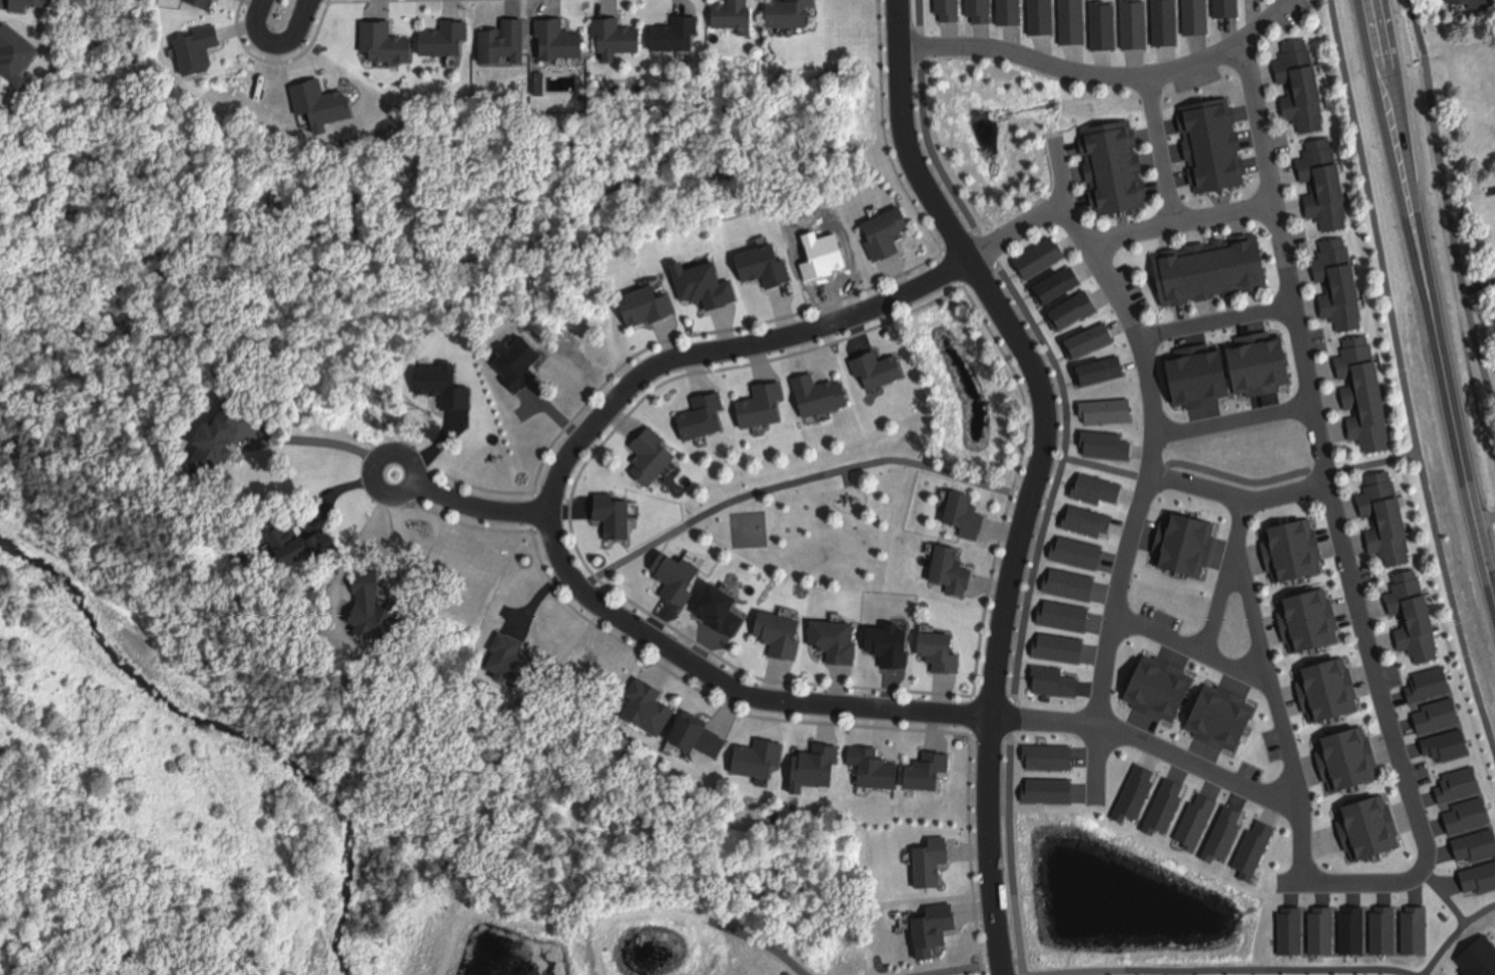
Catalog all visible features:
building: (1254, 1)
building: (206, 4)
building: (1473, 4)
building: (33, 7)
road: (1280, 9)
building: (947, 10)
building: (979, 12)
building: (1010, 13)
building: (735, 14)
building: (797, 14)
building: (1214, 14)
building: (1041, 16)
building: (1175, 20)
building: (1074, 22)
building: (1108, 26)
building: (1142, 30)
building: (678, 34)
building: (622, 36)
road: (1380, 38)
building: (447, 40)
building: (564, 40)
building: (391, 43)
building: (506, 44)
road: (277, 45)
building: (202, 52)
building: (19, 57)
road: (1090, 72)
building: (1304, 88)
road: (1158, 147)
building: (1115, 170)
building: (1326, 187)
road: (1448, 206)
road: (1118, 234)
building: (1485, 234)
building: (891, 235)
building: (1041, 261)
building: (1215, 271)
building: (704, 286)
building: (1341, 286)
building: (1063, 287)
building: (645, 311)
building: (1077, 313)
road: (1216, 321)
road: (1435, 341)
building: (881, 370)
road: (1403, 381)
building: (1366, 384)
building: (442, 387)
building: (822, 389)
building: (761, 404)
building: (705, 416)
road: (1234, 422)
road: (316, 436)
building: (221, 438)
building: (650, 457)
road: (411, 459)
park: (872, 461)
road: (1150, 468)
road: (936, 469)
road: (1105, 469)
road: (1035, 471)
road: (1060, 472)
road: (1283, 477)
road: (1207, 489)
building: (1100, 490)
road: (1289, 493)
road: (479, 510)
building: (613, 515)
road: (550, 516)
building: (968, 516)
building: (1387, 520)
building: (1090, 523)
park: (747, 530)
road: (1340, 530)
building: (302, 537)
building: (1296, 552)
building: (954, 578)
building: (674, 585)
road: (1219, 605)
park: (142, 609)
building: (1313, 619)
building: (1415, 619)
building: (774, 637)
building: (837, 642)
building: (505, 647)
building: (942, 651)
road: (1189, 651)
building: (1329, 693)
road: (1272, 701)
building: (649, 706)
building: (1437, 715)
building: (708, 740)
road: (1147, 742)
building: (1352, 759)
building: (872, 760)
building: (930, 770)
building: (817, 774)
building: (1460, 816)
building: (1369, 828)
building: (936, 863)
road: (1444, 897)
park: (1114, 901)
building: (1351, 921)
building: (1320, 922)
building: (1383, 922)
building: (1288, 923)
building: (1413, 923)
building: (938, 933)
road: (1454, 934)
road: (749, 937)
building: (1478, 952)
road: (977, 967)
park: (956, 969)
road: (1228, 970)

